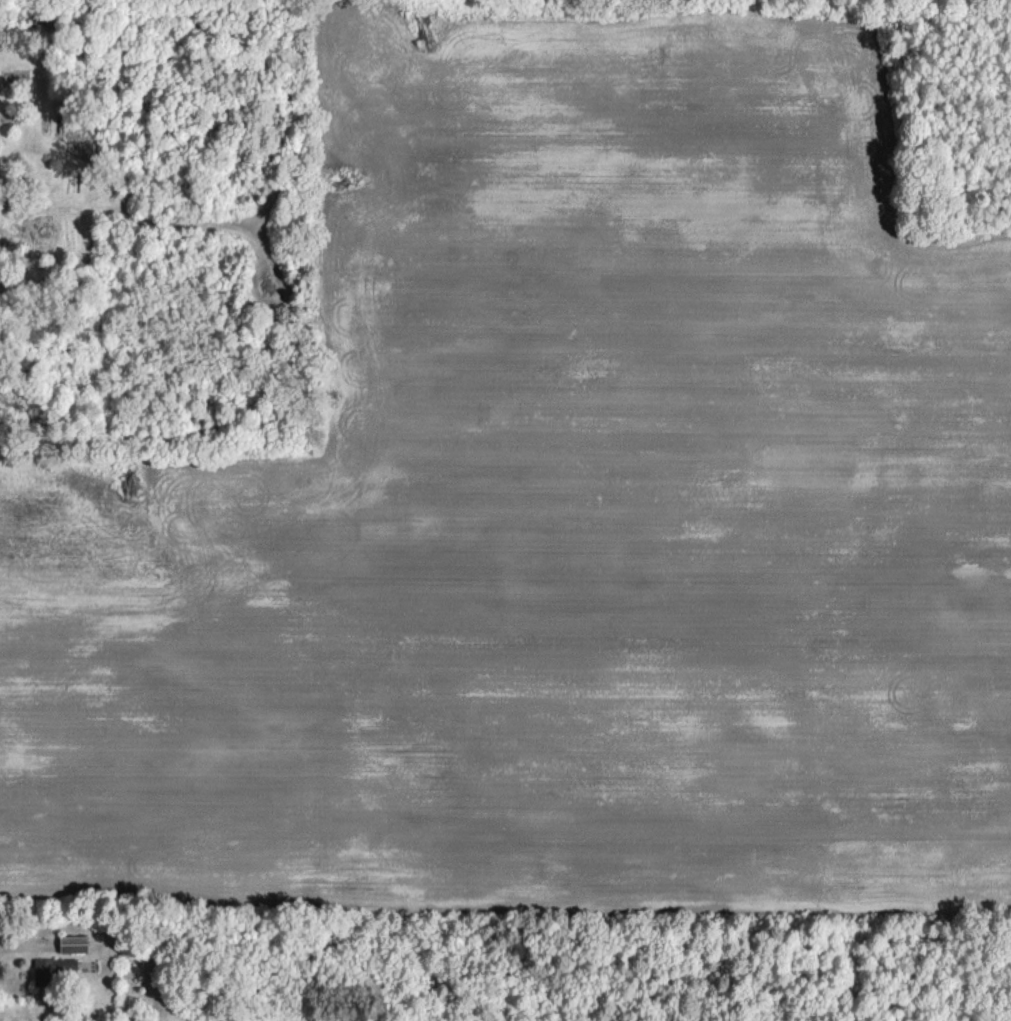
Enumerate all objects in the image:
road: (22, 947)
building: (55, 967)

